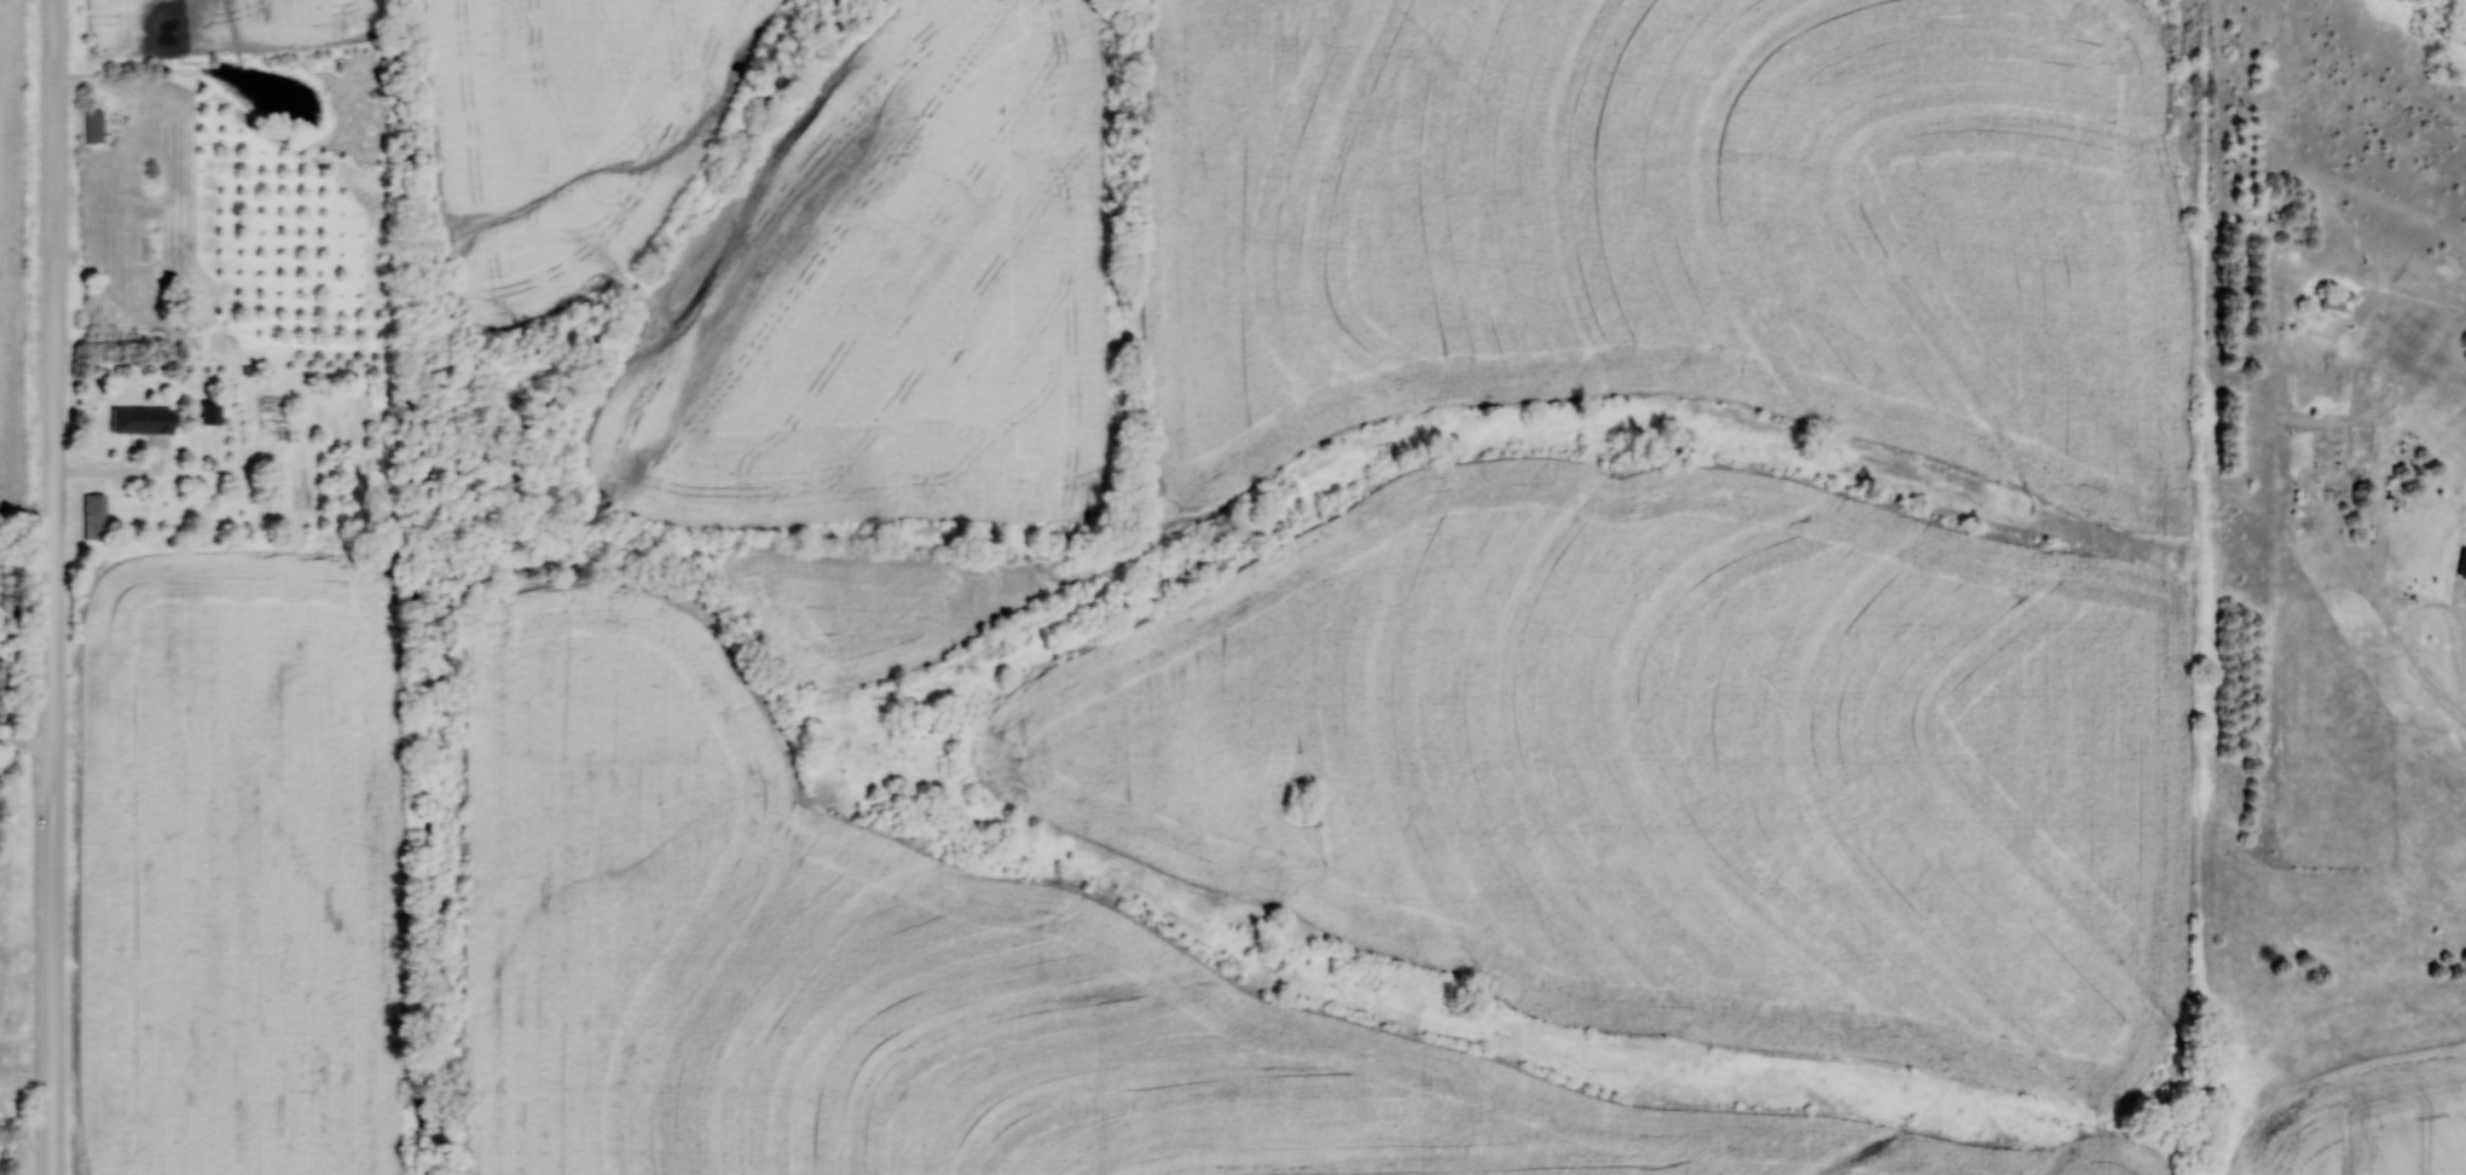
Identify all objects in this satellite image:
building: (95, 127)
building: (2334, 302)
building: (213, 415)
building: (144, 421)
building: (95, 516)
building: (2465, 580)
road: (53, 587)

